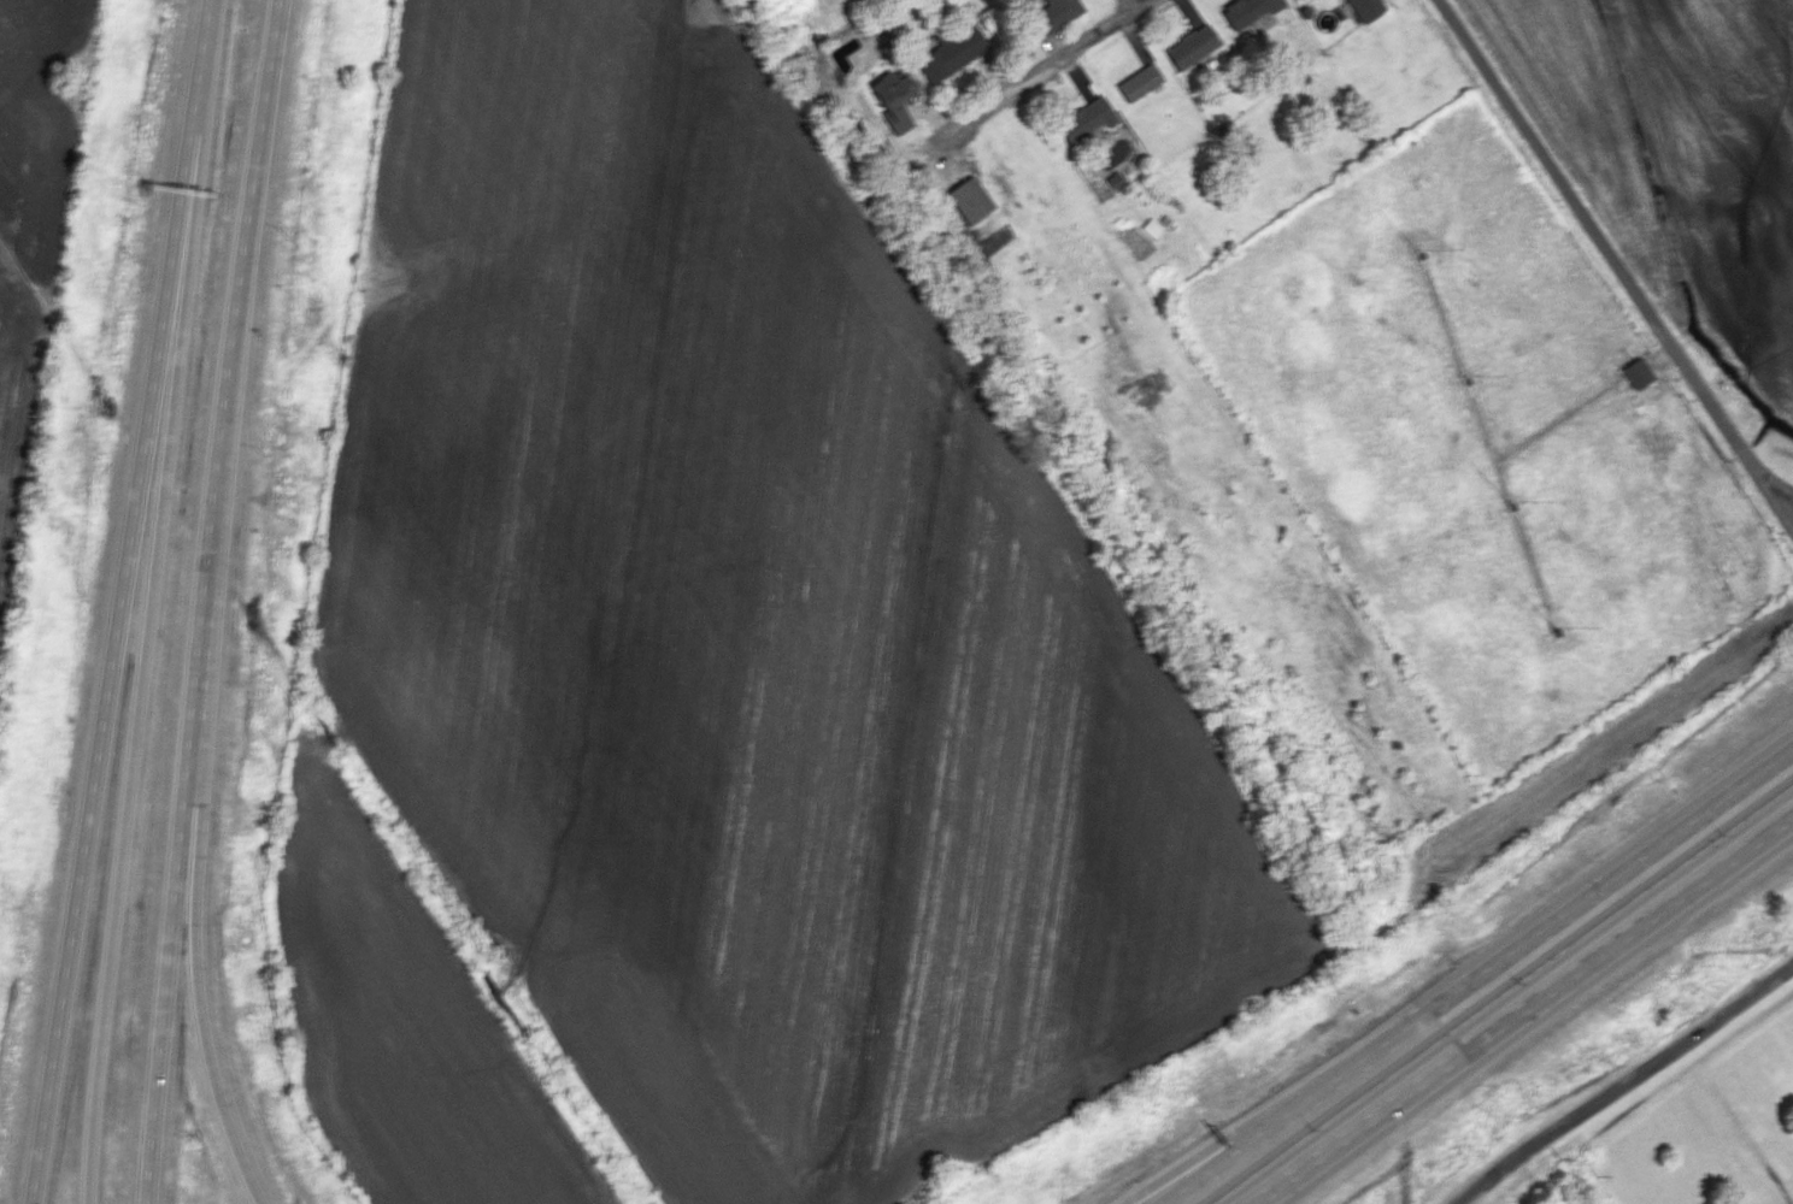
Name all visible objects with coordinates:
road: (1136, 2)
building: (1366, 8)
building: (1248, 11)
building: (1056, 13)
building: (1192, 46)
building: (948, 52)
road: (1046, 72)
building: (1139, 81)
building: (893, 98)
building: (1086, 119)
building: (970, 199)
crop: (33, 218)
building: (1151, 228)
road: (1615, 258)
building: (1638, 372)
road: (127, 601)
road: (202, 601)
crop: (710, 679)
road: (200, 801)
road: (1472, 972)
road: (92, 1001)
road: (1529, 1014)
road: (1624, 1081)

